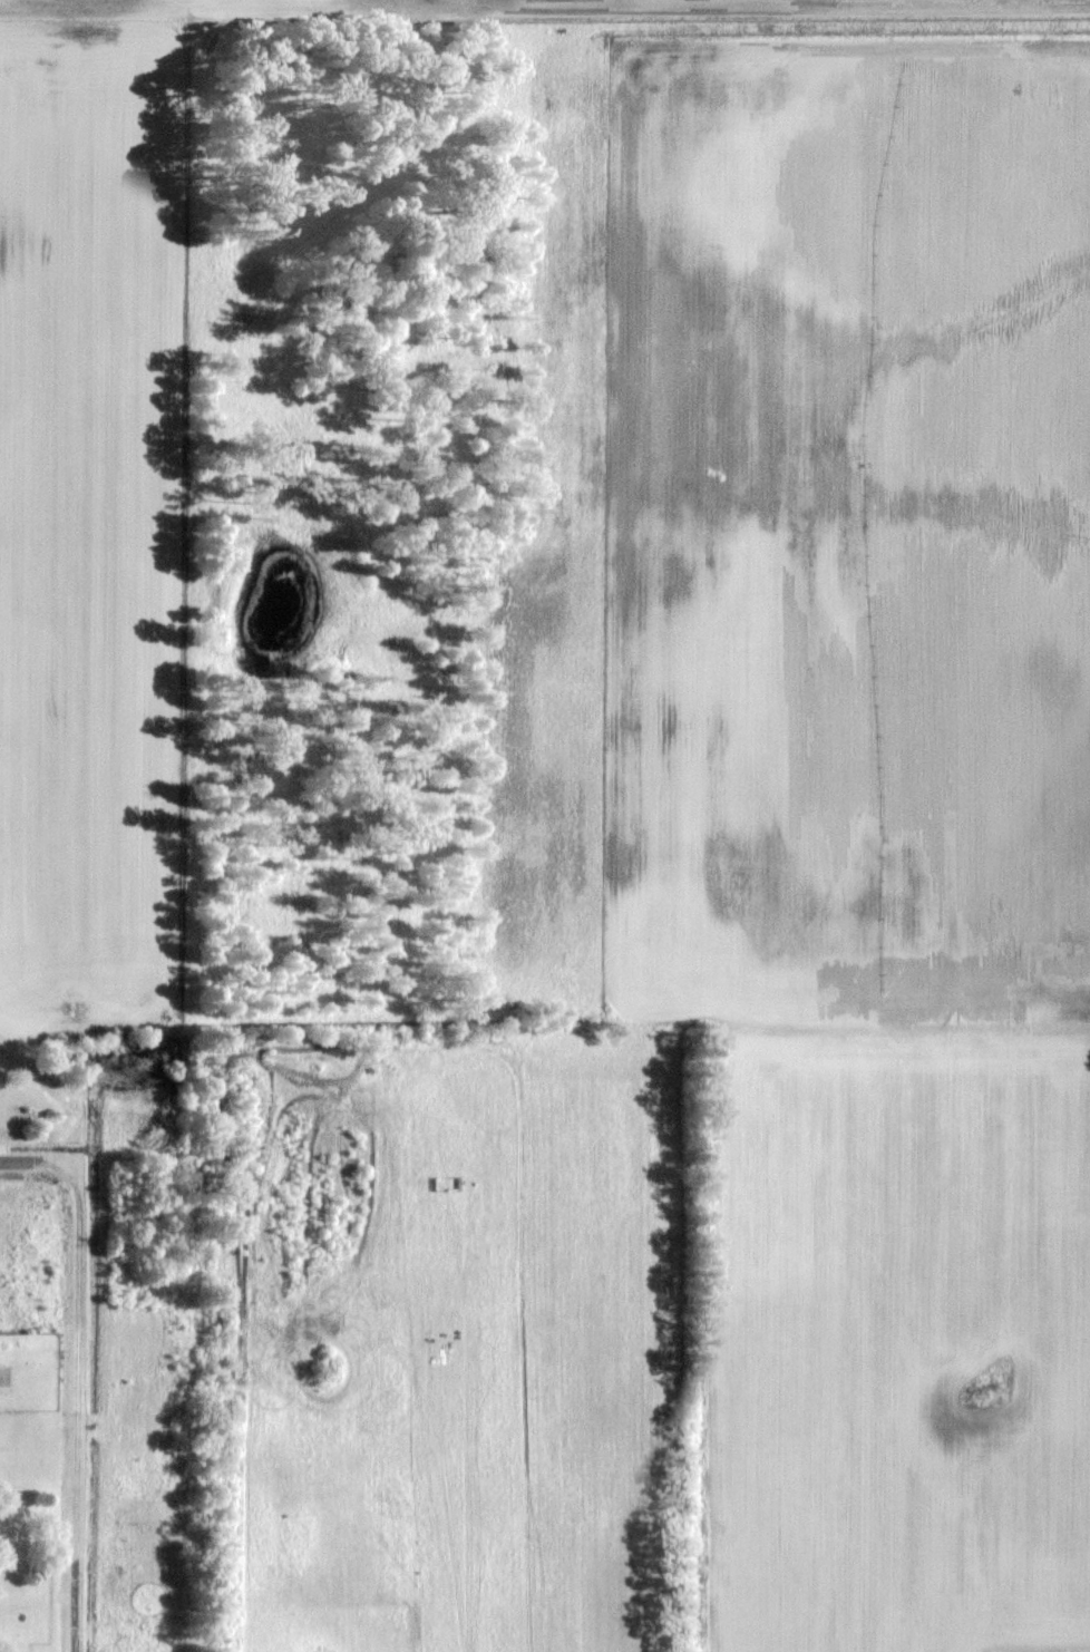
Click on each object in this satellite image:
crop: (621, 512)
road: (39, 1162)
road: (78, 1407)

